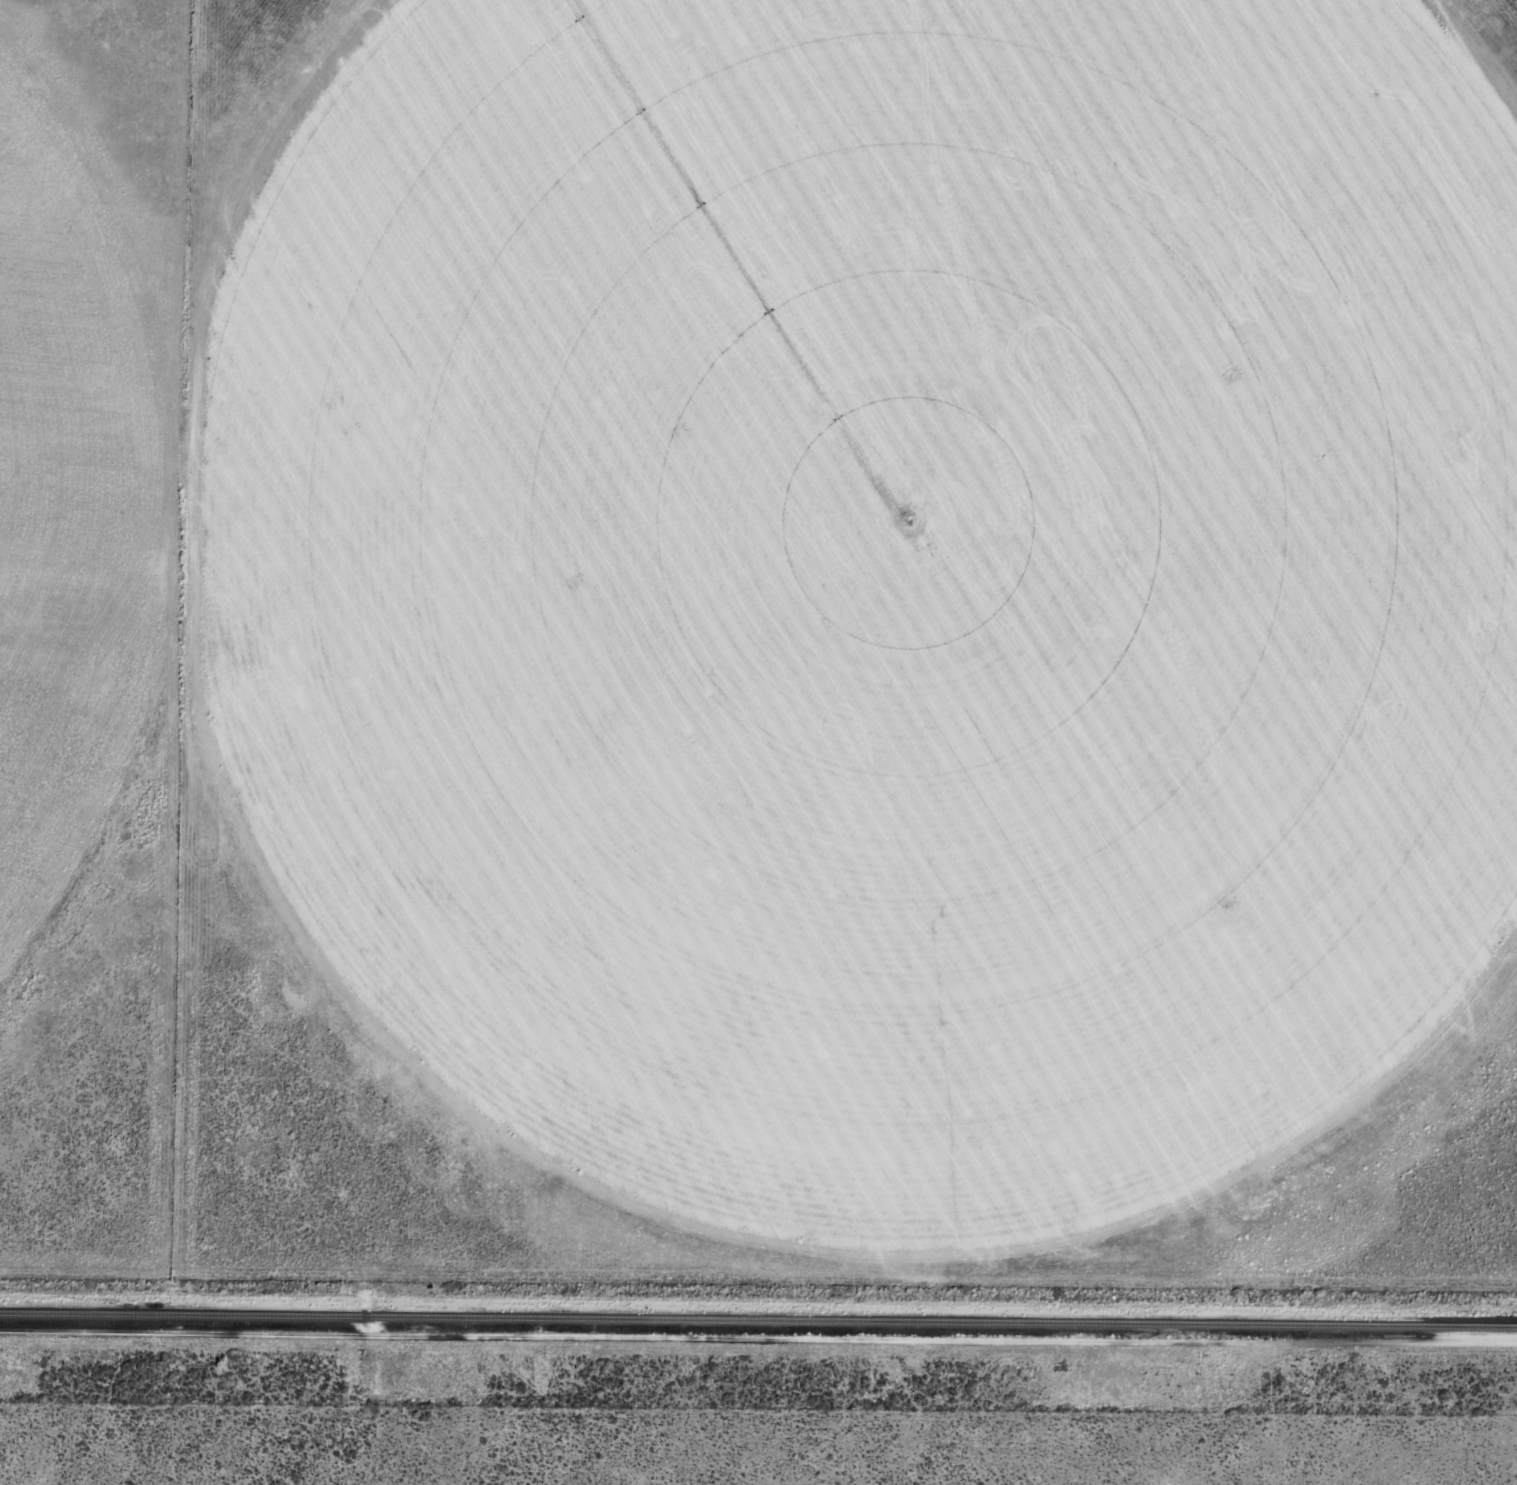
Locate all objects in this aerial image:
railway: (758, 1320)

